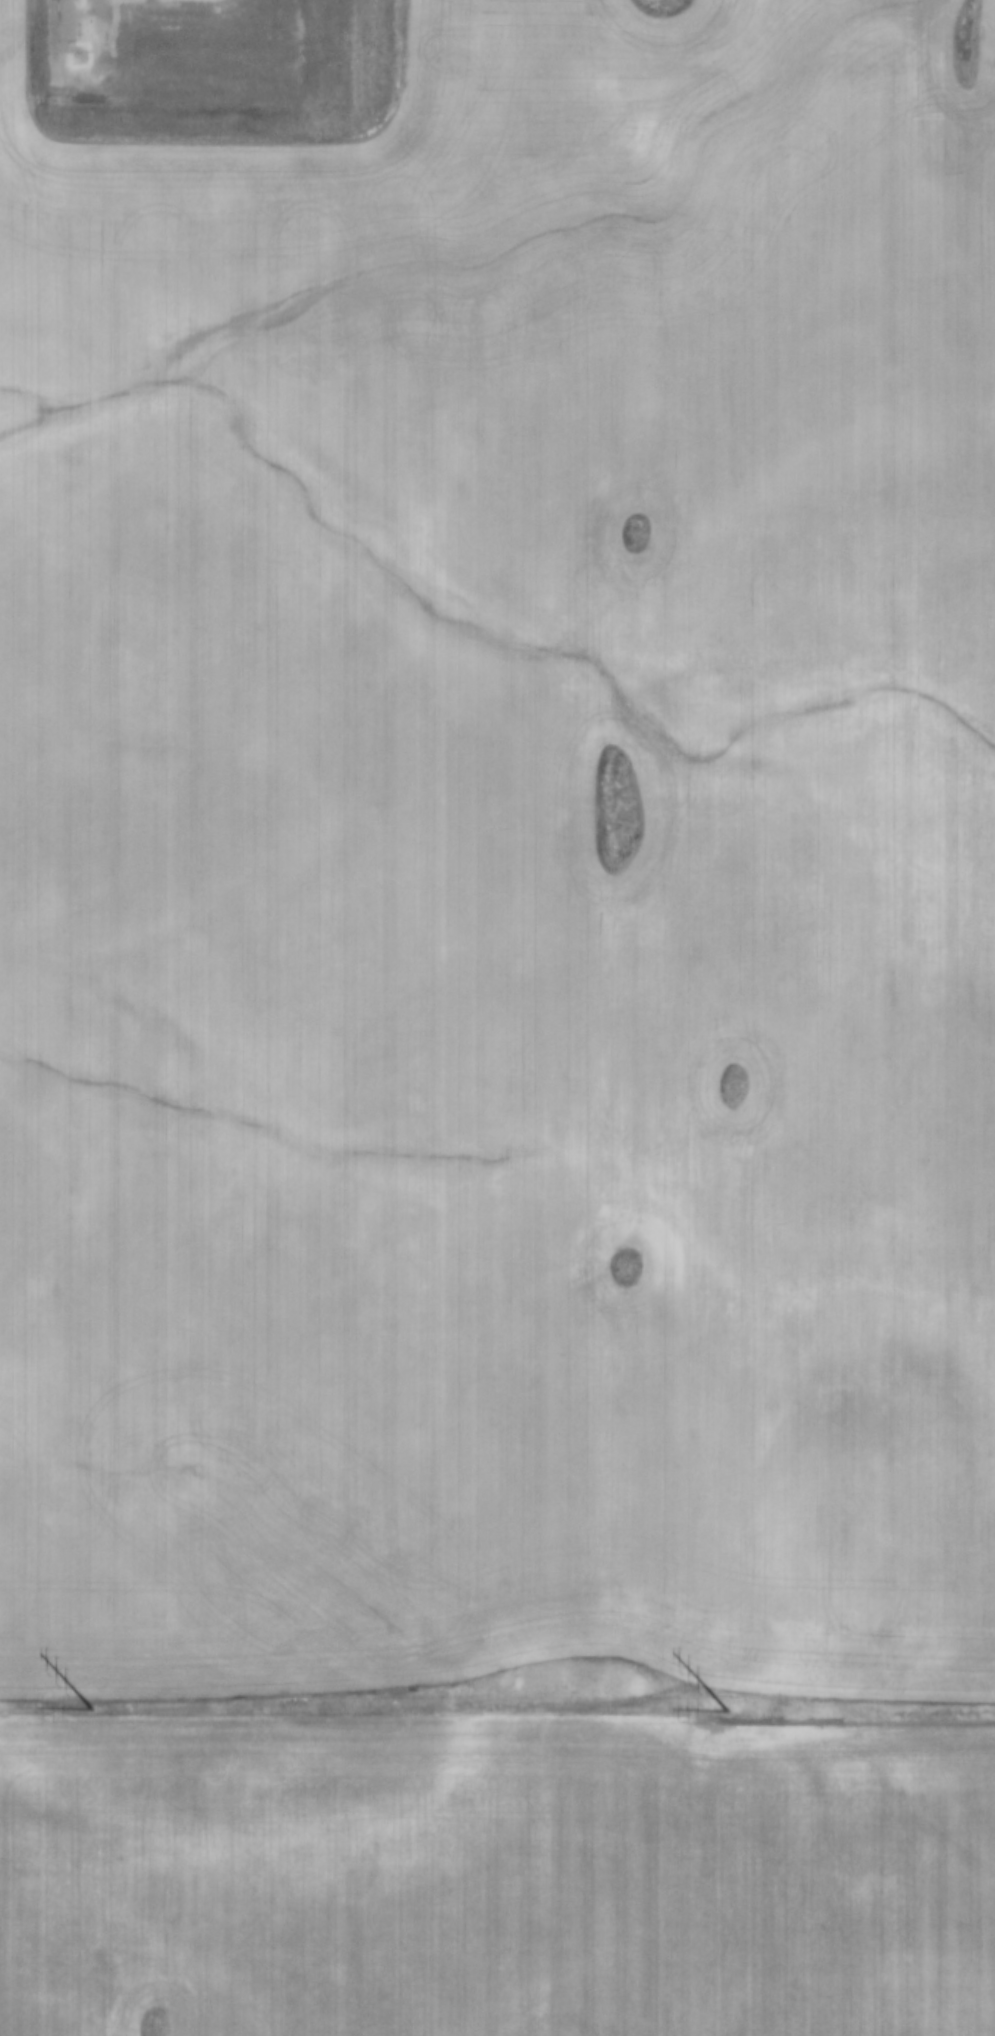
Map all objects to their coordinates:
power tower: (90, 1708)
power tower: (726, 1710)

